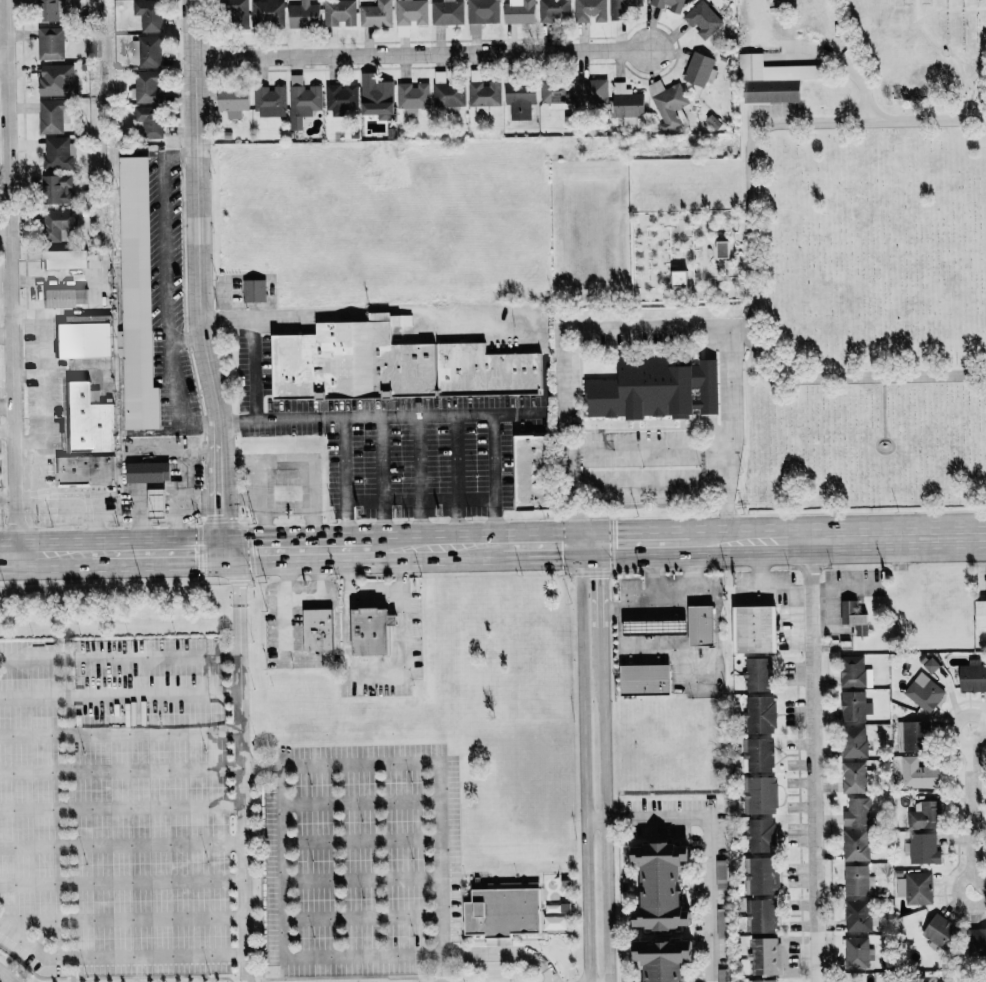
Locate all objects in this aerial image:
building: (667, 5)
building: (621, 8)
building: (45, 9)
building: (554, 10)
building: (590, 10)
building: (519, 11)
building: (236, 12)
building: (446, 12)
building: (267, 13)
building: (339, 13)
building: (148, 14)
building: (303, 14)
building: (375, 14)
building: (480, 14)
building: (409, 16)
building: (702, 20)
building: (50, 43)
building: (147, 51)
road: (423, 53)
road: (3, 61)
building: (698, 69)
building: (773, 69)
building: (54, 79)
building: (146, 86)
building: (591, 91)
building: (447, 92)
building: (771, 92)
building: (555, 93)
building: (484, 95)
building: (341, 97)
building: (376, 97)
building: (412, 97)
building: (519, 99)
building: (269, 101)
building: (232, 102)
building: (302, 102)
building: (626, 103)
building: (667, 104)
building: (52, 115)
building: (147, 121)
road: (765, 126)
building: (58, 153)
building: (56, 189)
road: (4, 234)
building: (721, 249)
park: (864, 249)
road: (164, 250)
building: (63, 259)
road: (198, 275)
road: (9, 277)
building: (678, 277)
road: (28, 289)
building: (253, 291)
building: (136, 296)
building: (64, 297)
road: (41, 328)
road: (645, 328)
building: (82, 339)
road: (251, 343)
building: (391, 364)
road: (845, 378)
building: (654, 389)
road: (176, 398)
road: (41, 405)
road: (484, 413)
road: (344, 417)
building: (87, 419)
road: (7, 434)
road: (647, 446)
road: (308, 461)
building: (84, 471)
building: (147, 472)
building: (532, 472)
road: (456, 479)
road: (382, 480)
road: (419, 480)
road: (39, 482)
road: (648, 485)
road: (258, 500)
road: (91, 502)
building: (155, 503)
road: (8, 505)
road: (287, 512)
road: (260, 525)
road: (837, 537)
road: (646, 541)
road: (594, 542)
traffic signals: (605, 542)
traffic signals: (584, 543)
road: (292, 549)
traffic signals: (221, 550)
road: (653, 573)
road: (605, 583)
road: (845, 588)
road: (374, 592)
road: (301, 594)
road: (673, 604)
building: (980, 616)
building: (853, 617)
building: (699, 625)
building: (316, 630)
building: (754, 630)
building: (369, 631)
road: (119, 656)
road: (316, 658)
building: (930, 665)
road: (374, 669)
building: (852, 670)
building: (756, 674)
building: (972, 676)
building: (644, 679)
building: (923, 691)
road: (120, 695)
building: (852, 705)
building: (760, 713)
road: (607, 720)
road: (120, 732)
building: (914, 736)
building: (853, 741)
road: (972, 743)
building: (758, 754)
road: (813, 760)
road: (241, 762)
road: (587, 762)
road: (120, 770)
road: (442, 771)
building: (917, 773)
building: (853, 777)
building: (759, 794)
parking lot: (113, 806)
road: (121, 807)
building: (856, 811)
road: (599, 815)
road: (616, 815)
building: (923, 815)
building: (760, 834)
road: (976, 834)
road: (121, 844)
building: (855, 844)
building: (922, 848)
road: (707, 860)
parking lot: (361, 861)
building: (761, 875)
building: (856, 880)
road: (122, 881)
building: (661, 884)
building: (914, 887)
road: (609, 898)
building: (502, 911)
building: (761, 915)
building: (857, 915)
road: (122, 917)
building: (554, 922)
building: (940, 931)
road: (282, 935)
building: (977, 940)
road: (506, 951)
building: (858, 952)
building: (766, 955)
road: (117, 956)
building: (664, 958)
building: (722, 975)
road: (5, 977)
building: (943, 977)
building: (762, 980)

